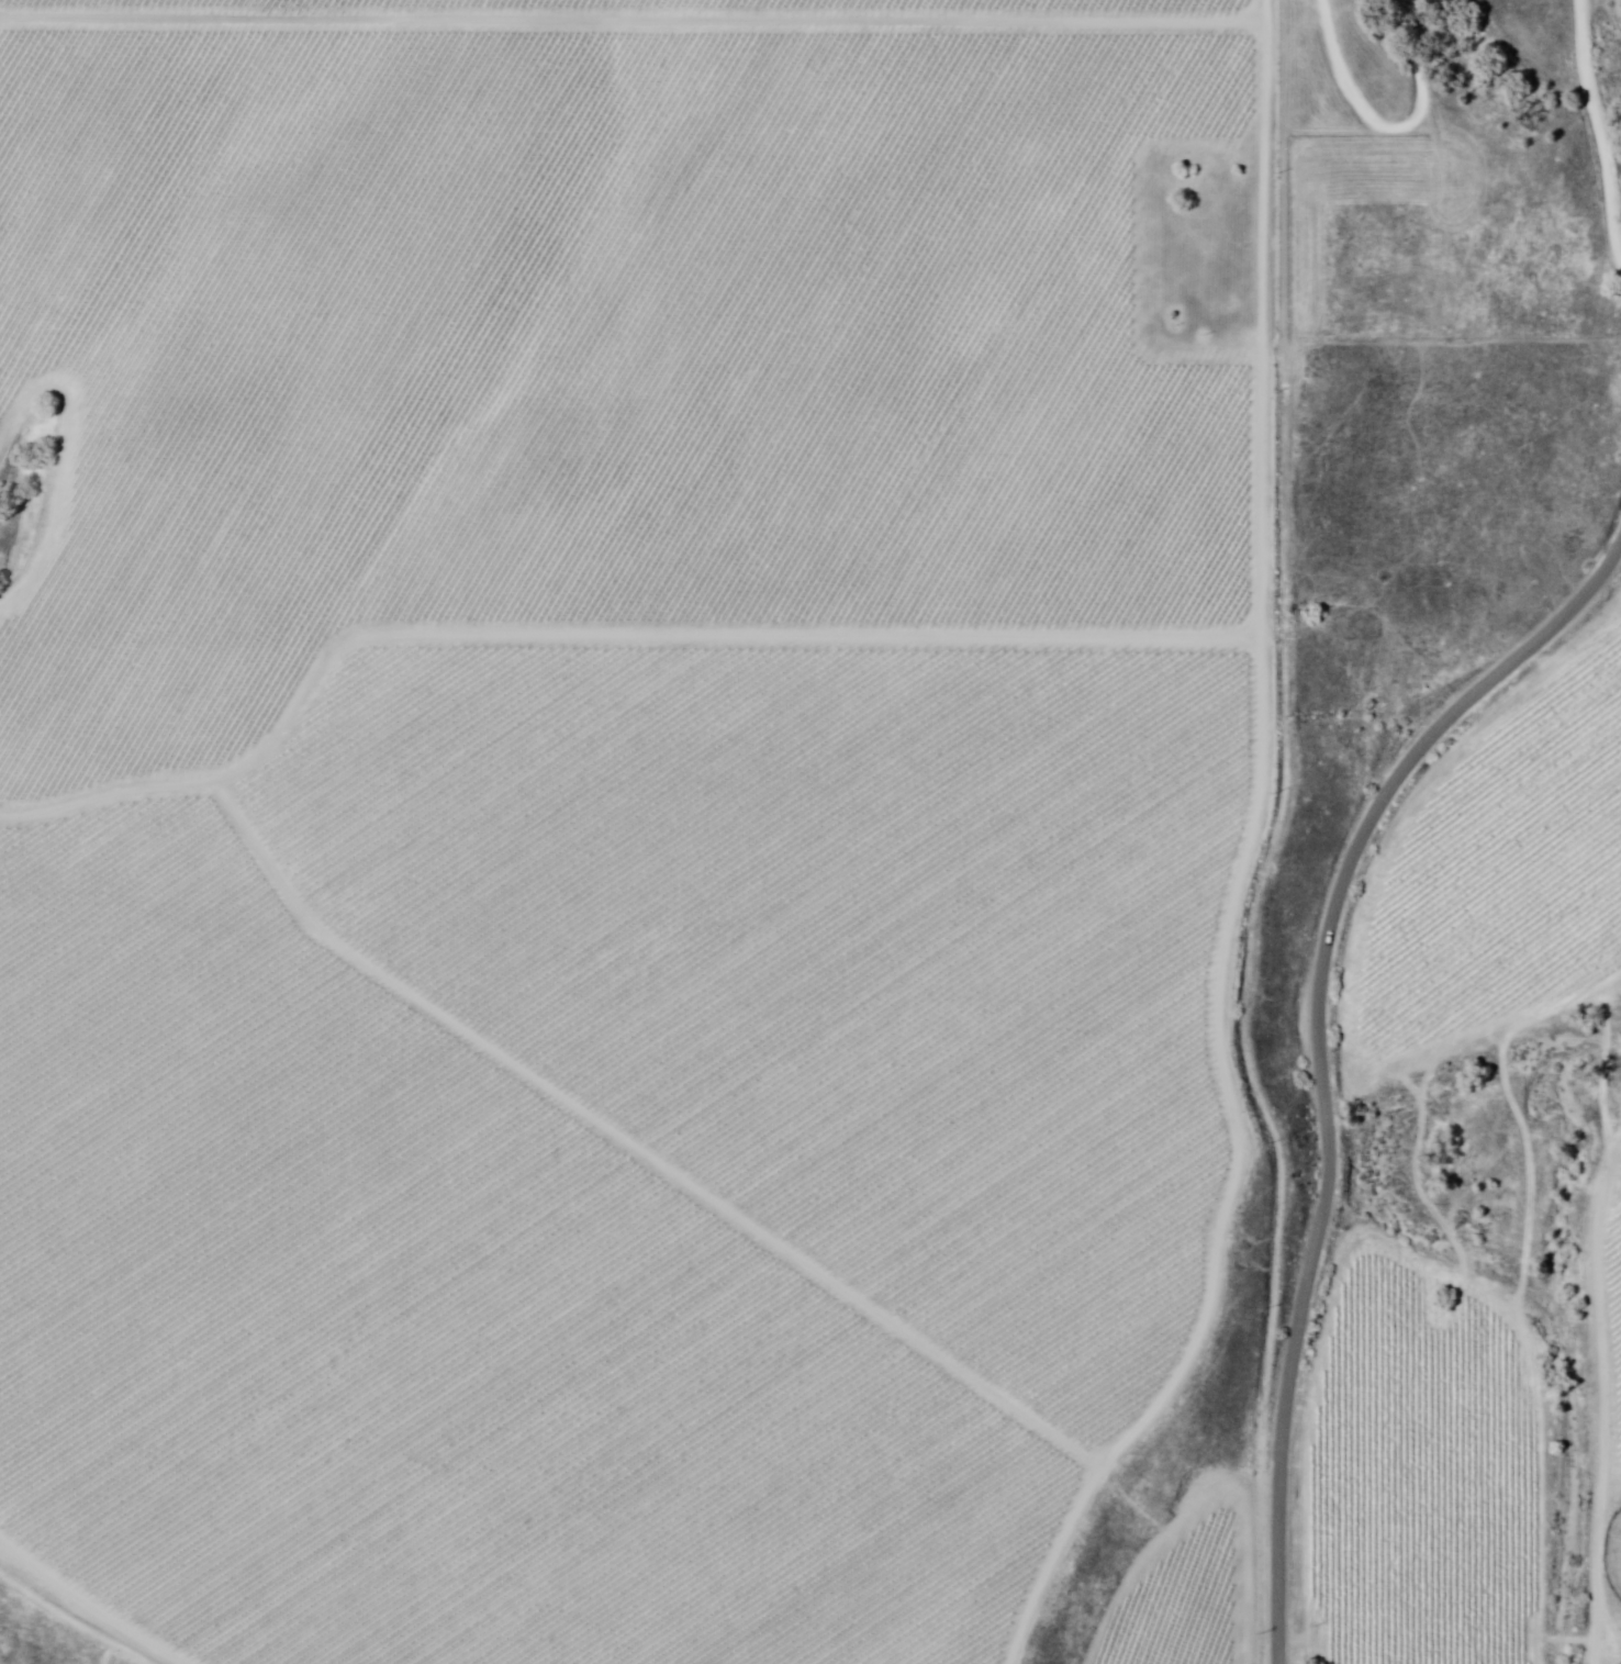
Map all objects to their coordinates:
road: (1594, 133)
road: (1250, 937)
road: (1313, 1046)

